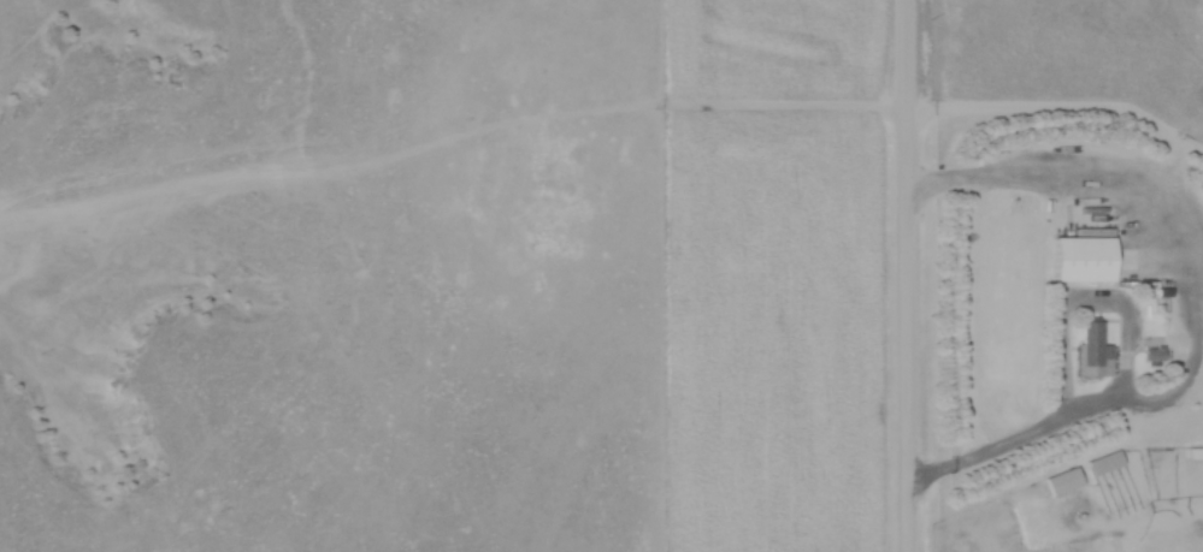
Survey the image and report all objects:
building: (1080, 260)
road: (907, 275)
building: (1091, 343)
road: (1025, 435)

